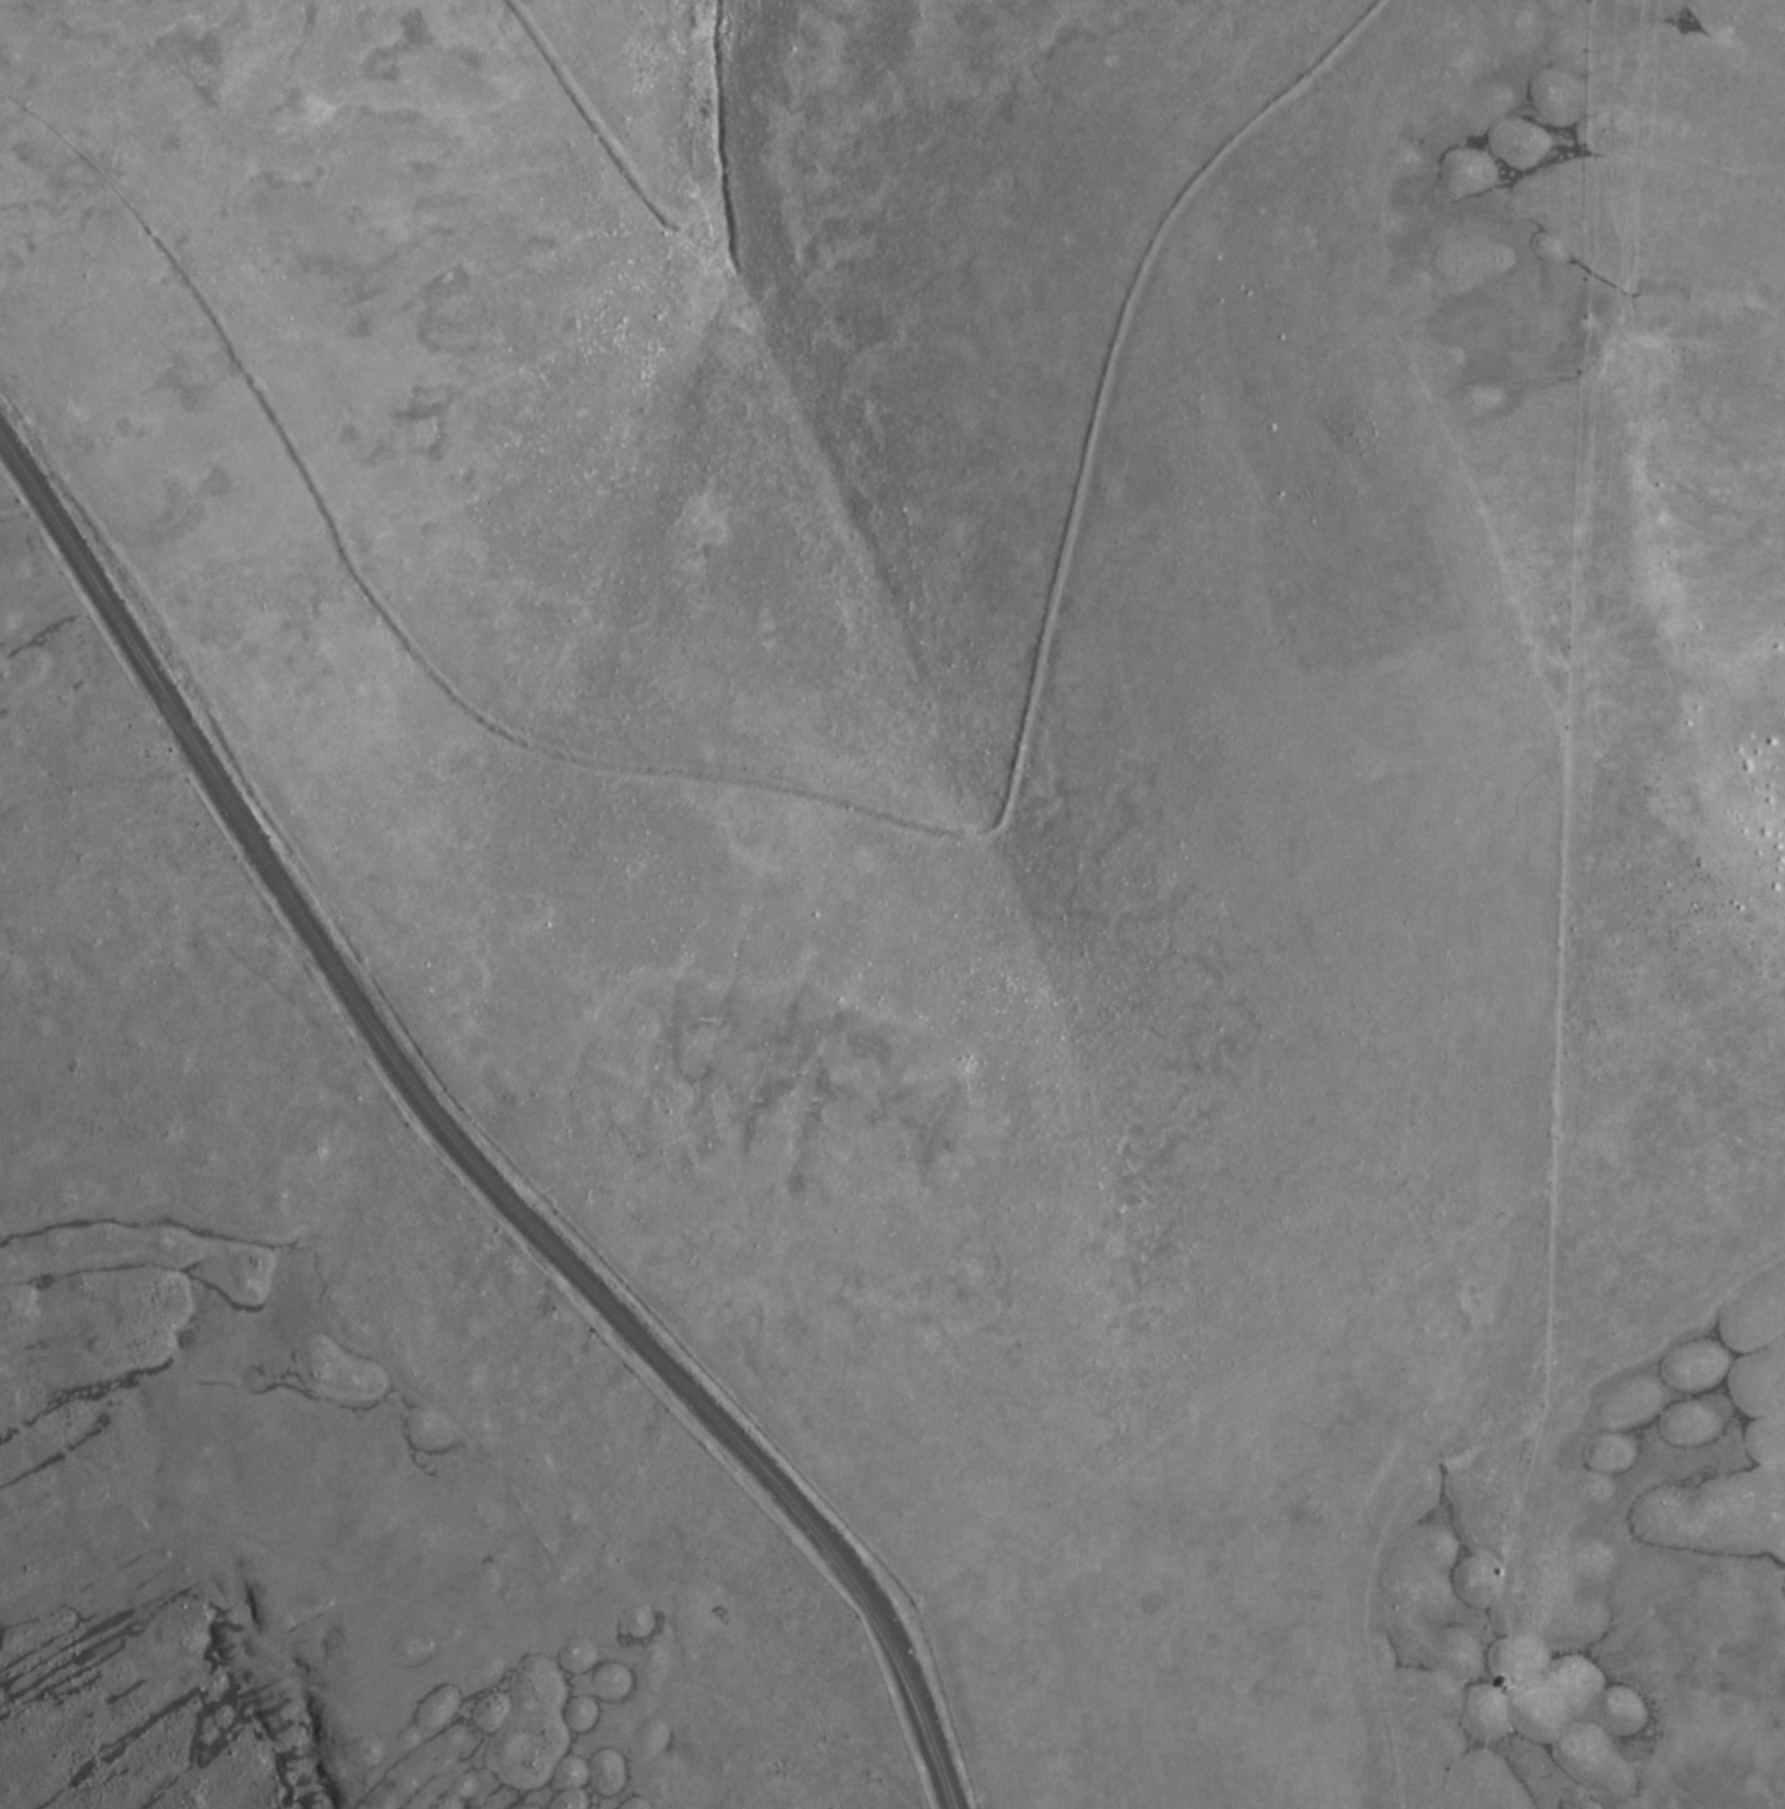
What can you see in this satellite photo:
road: (466, 1150)

